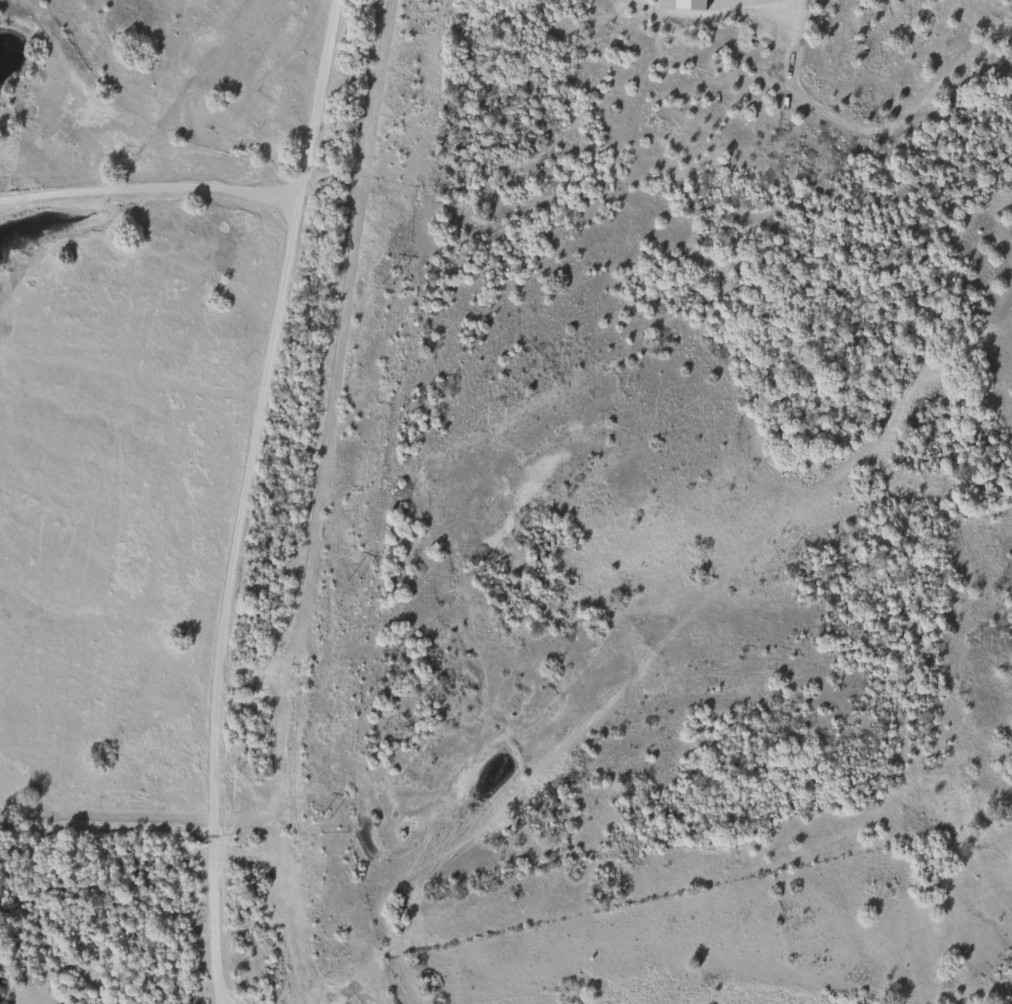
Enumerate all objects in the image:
power tower: (386, 284)
road: (244, 499)
power tower: (351, 581)
power tower: (325, 819)

